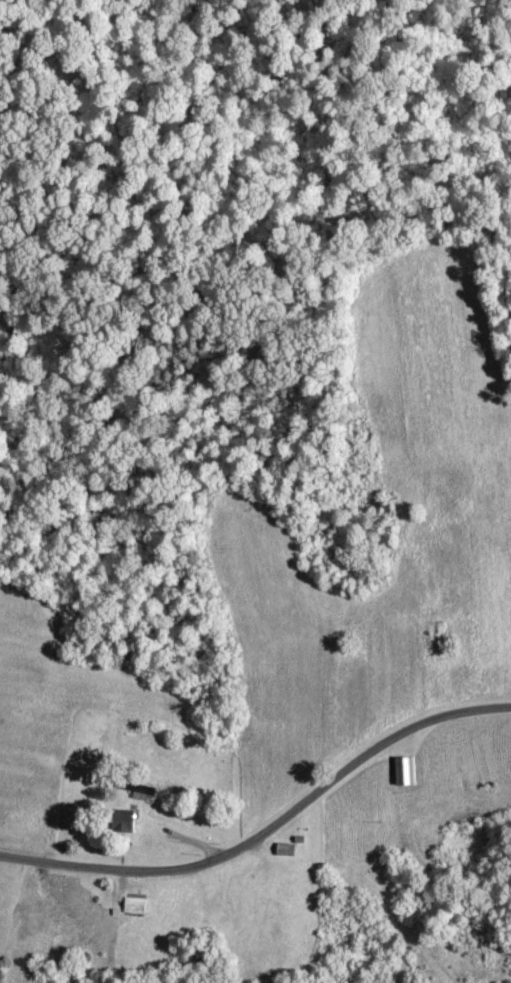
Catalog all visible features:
building: (118, 822)
road: (267, 835)

